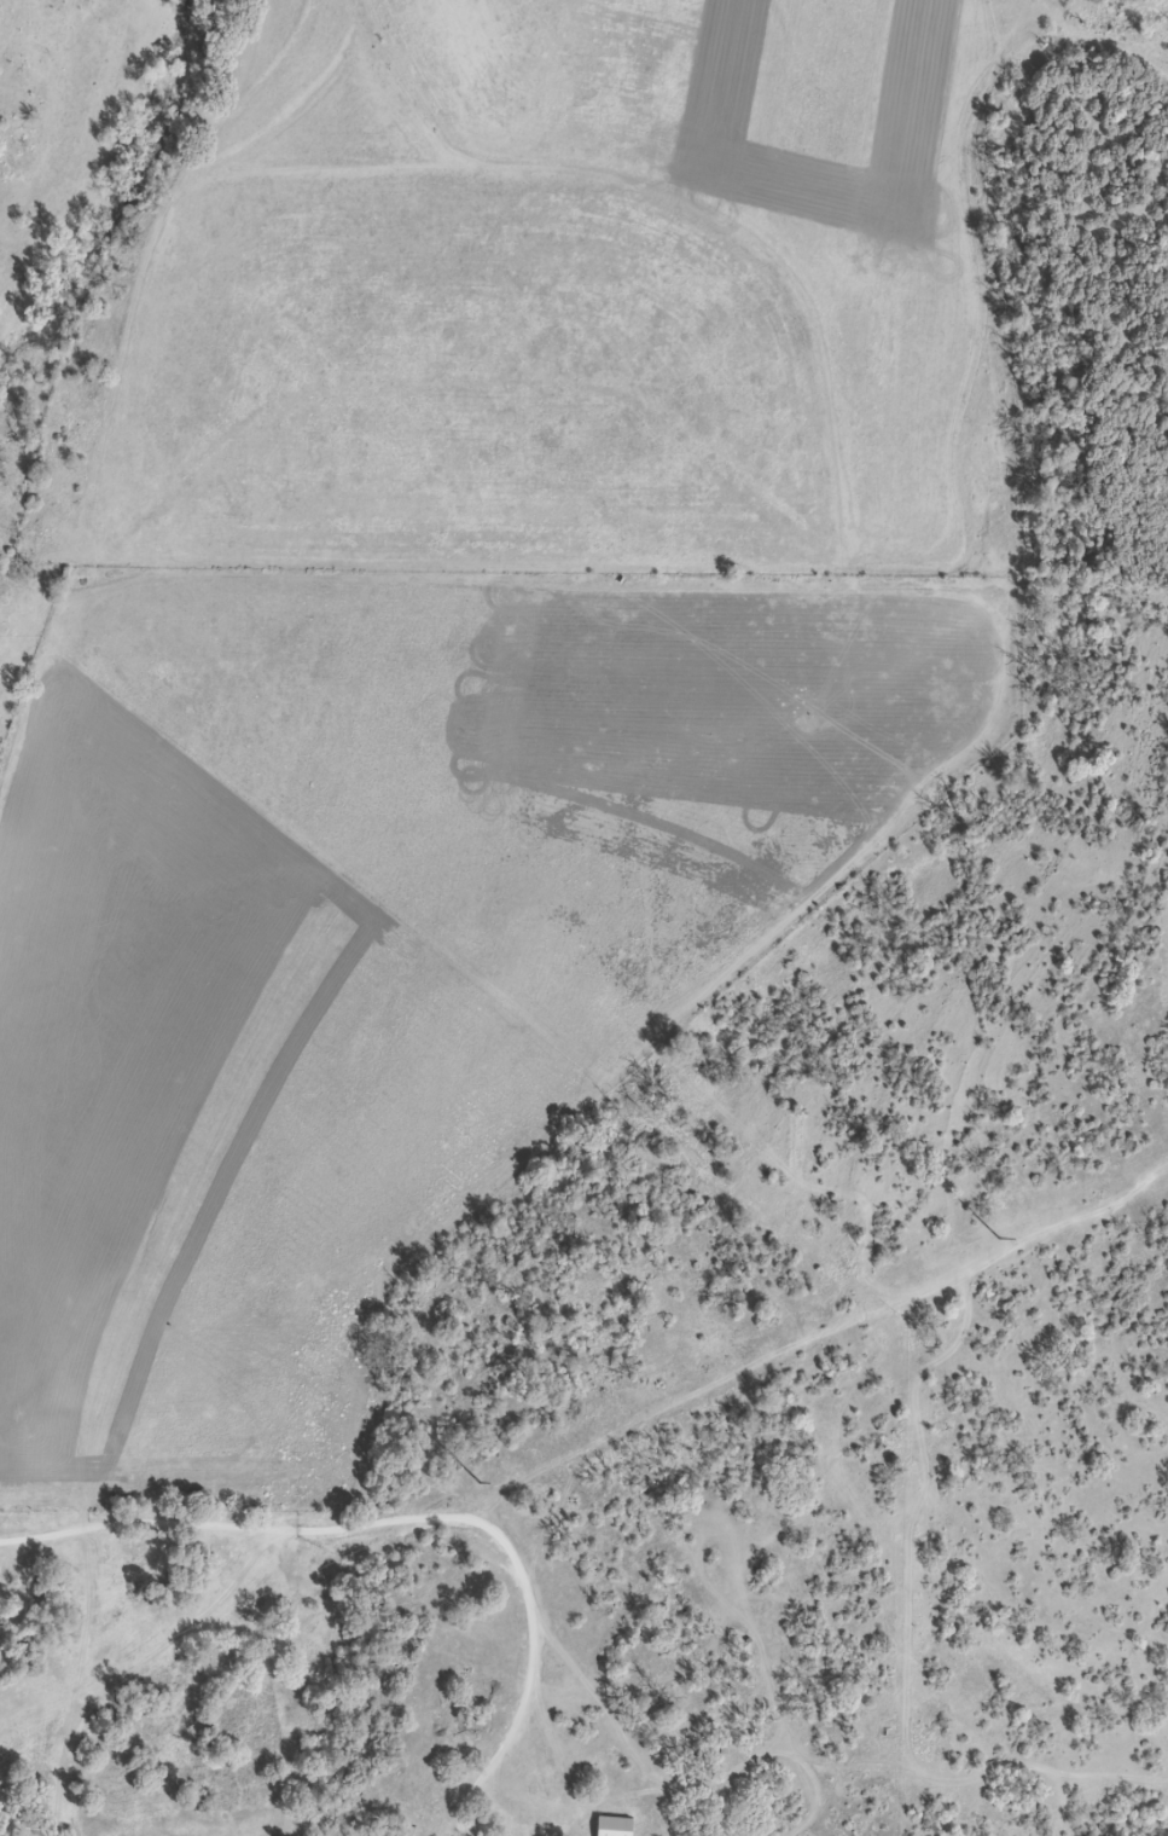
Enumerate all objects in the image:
power tower: (1003, 1239)
power tower: (480, 1483)
road: (862, 1496)
building: (608, 1825)

